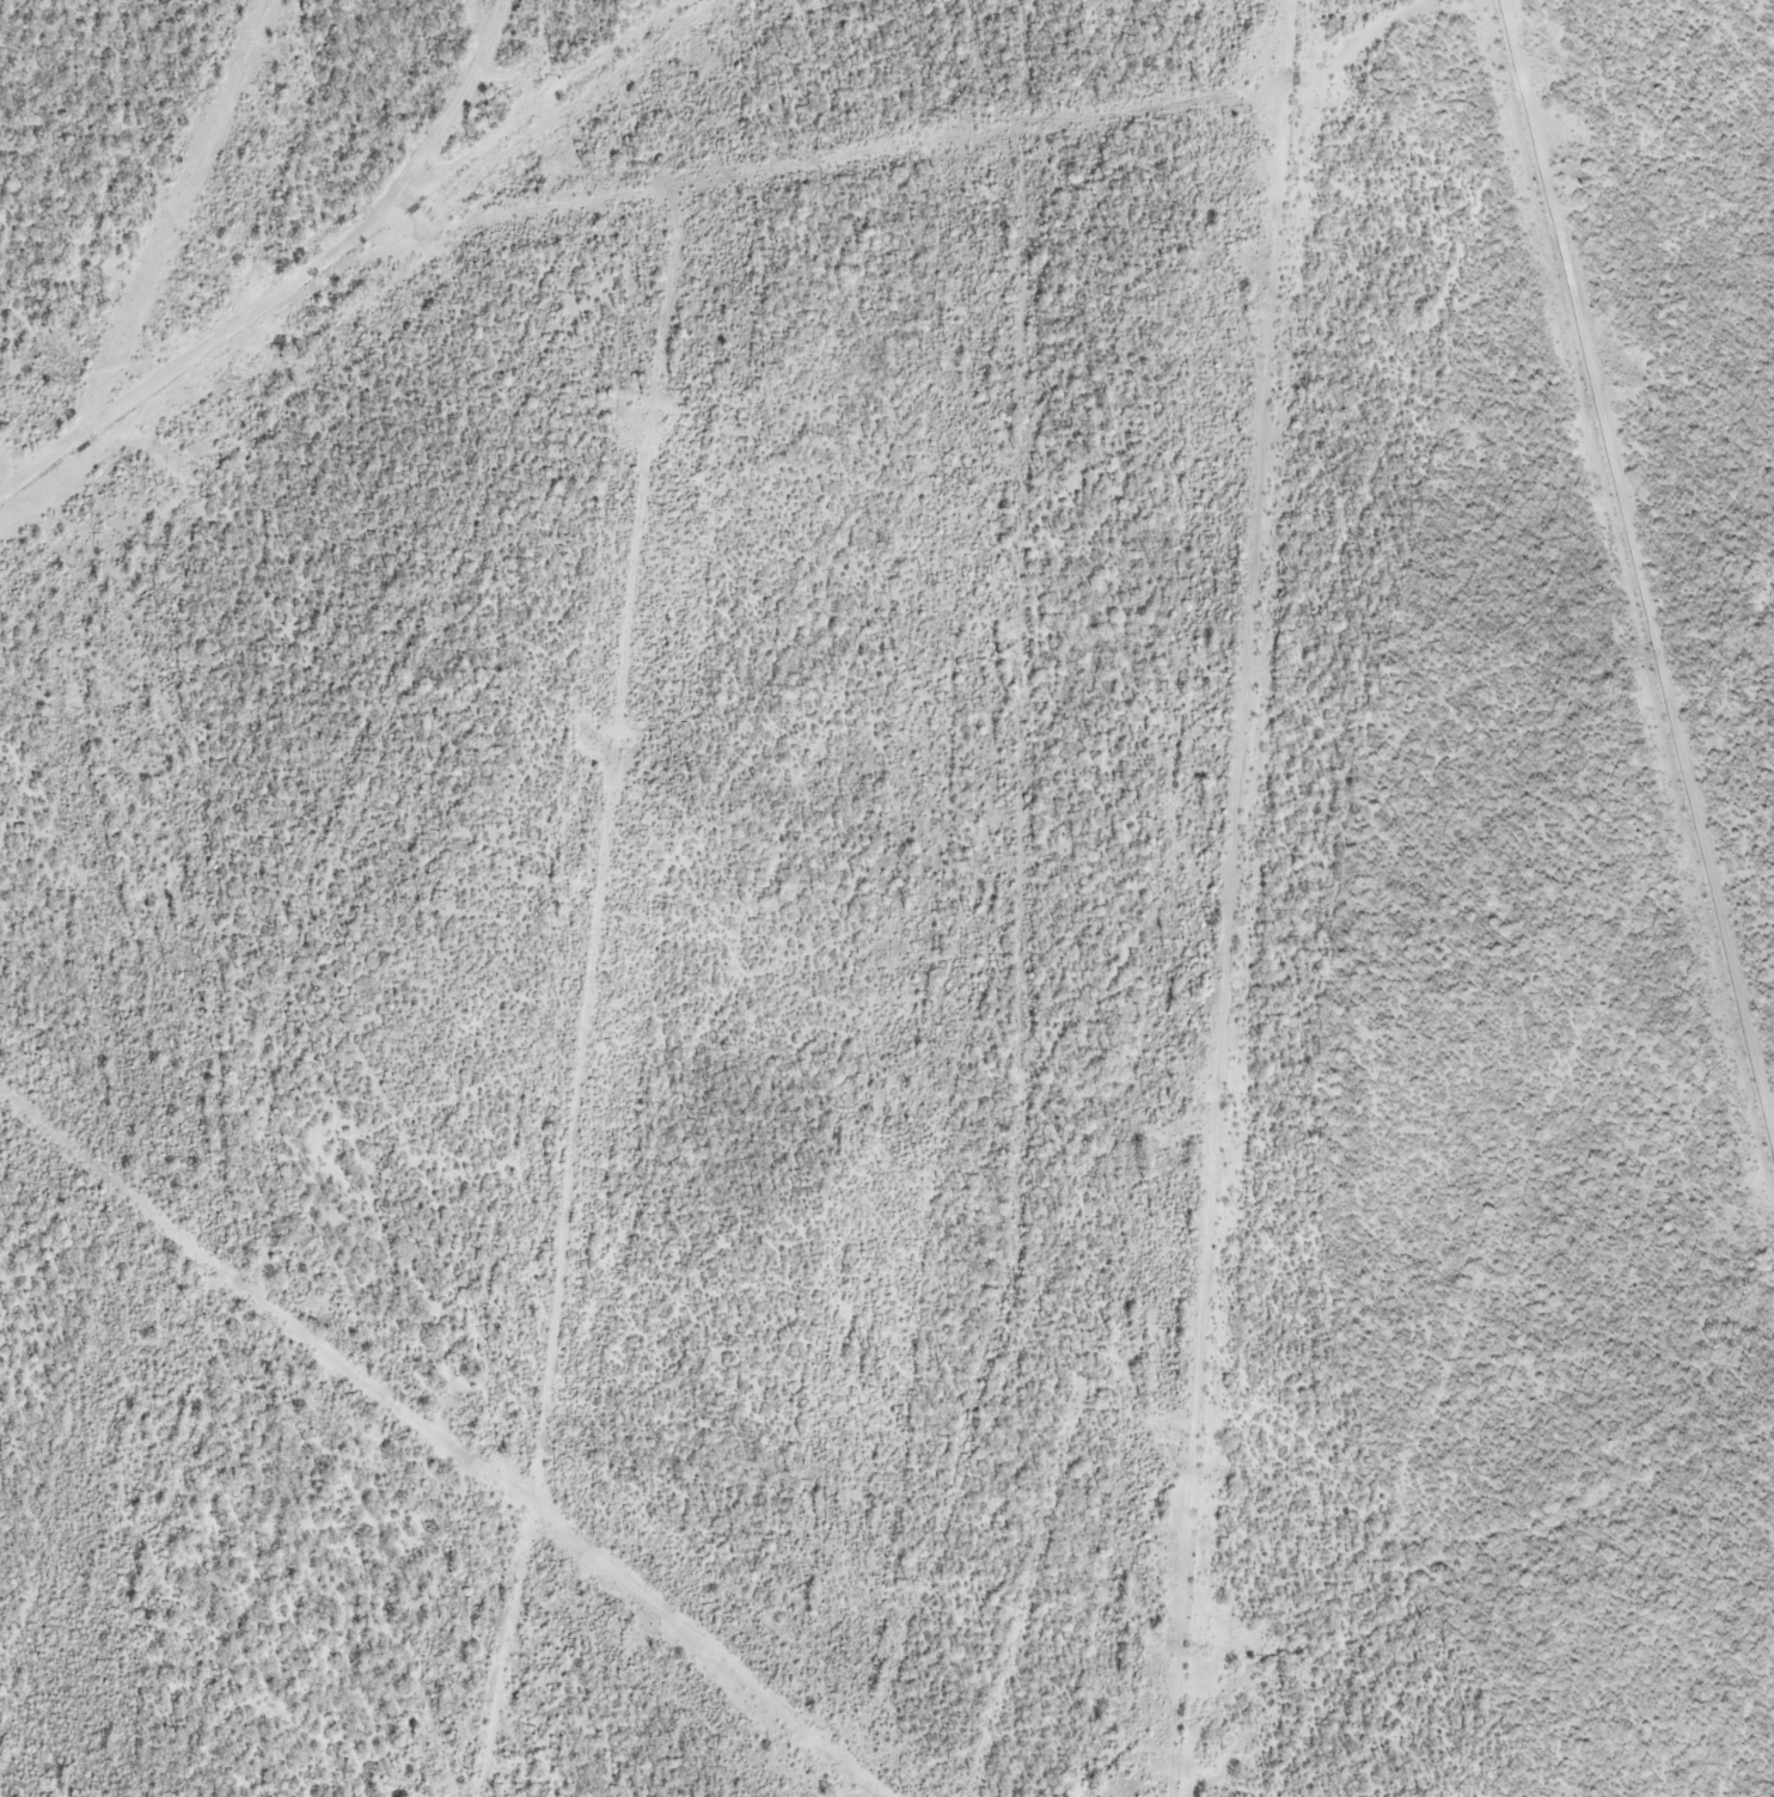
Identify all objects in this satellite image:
road: (287, 273)

